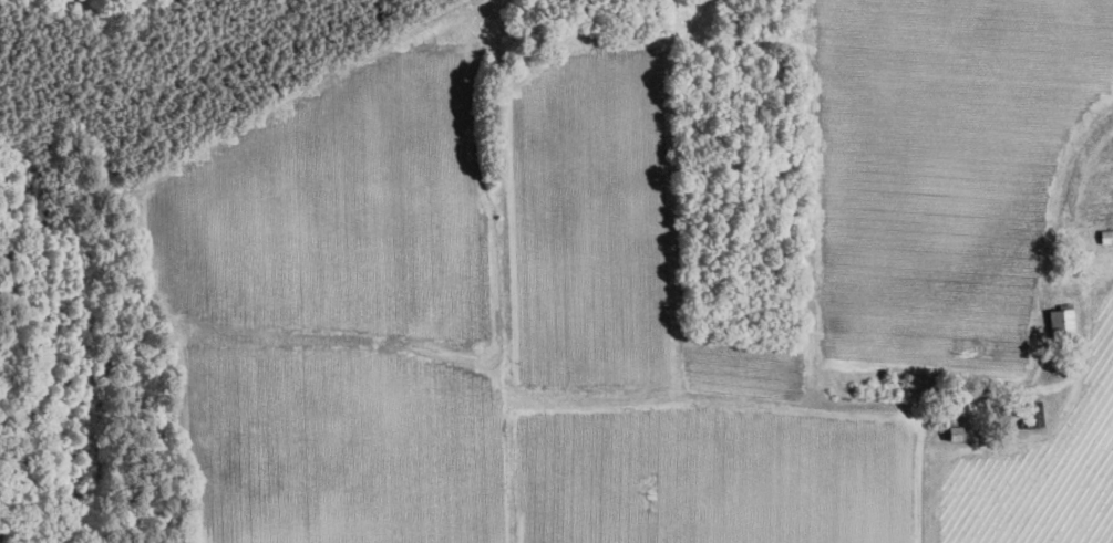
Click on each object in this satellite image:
building: (1106, 236)
building: (1061, 319)
building: (1032, 414)
road: (924, 424)
building: (955, 432)

